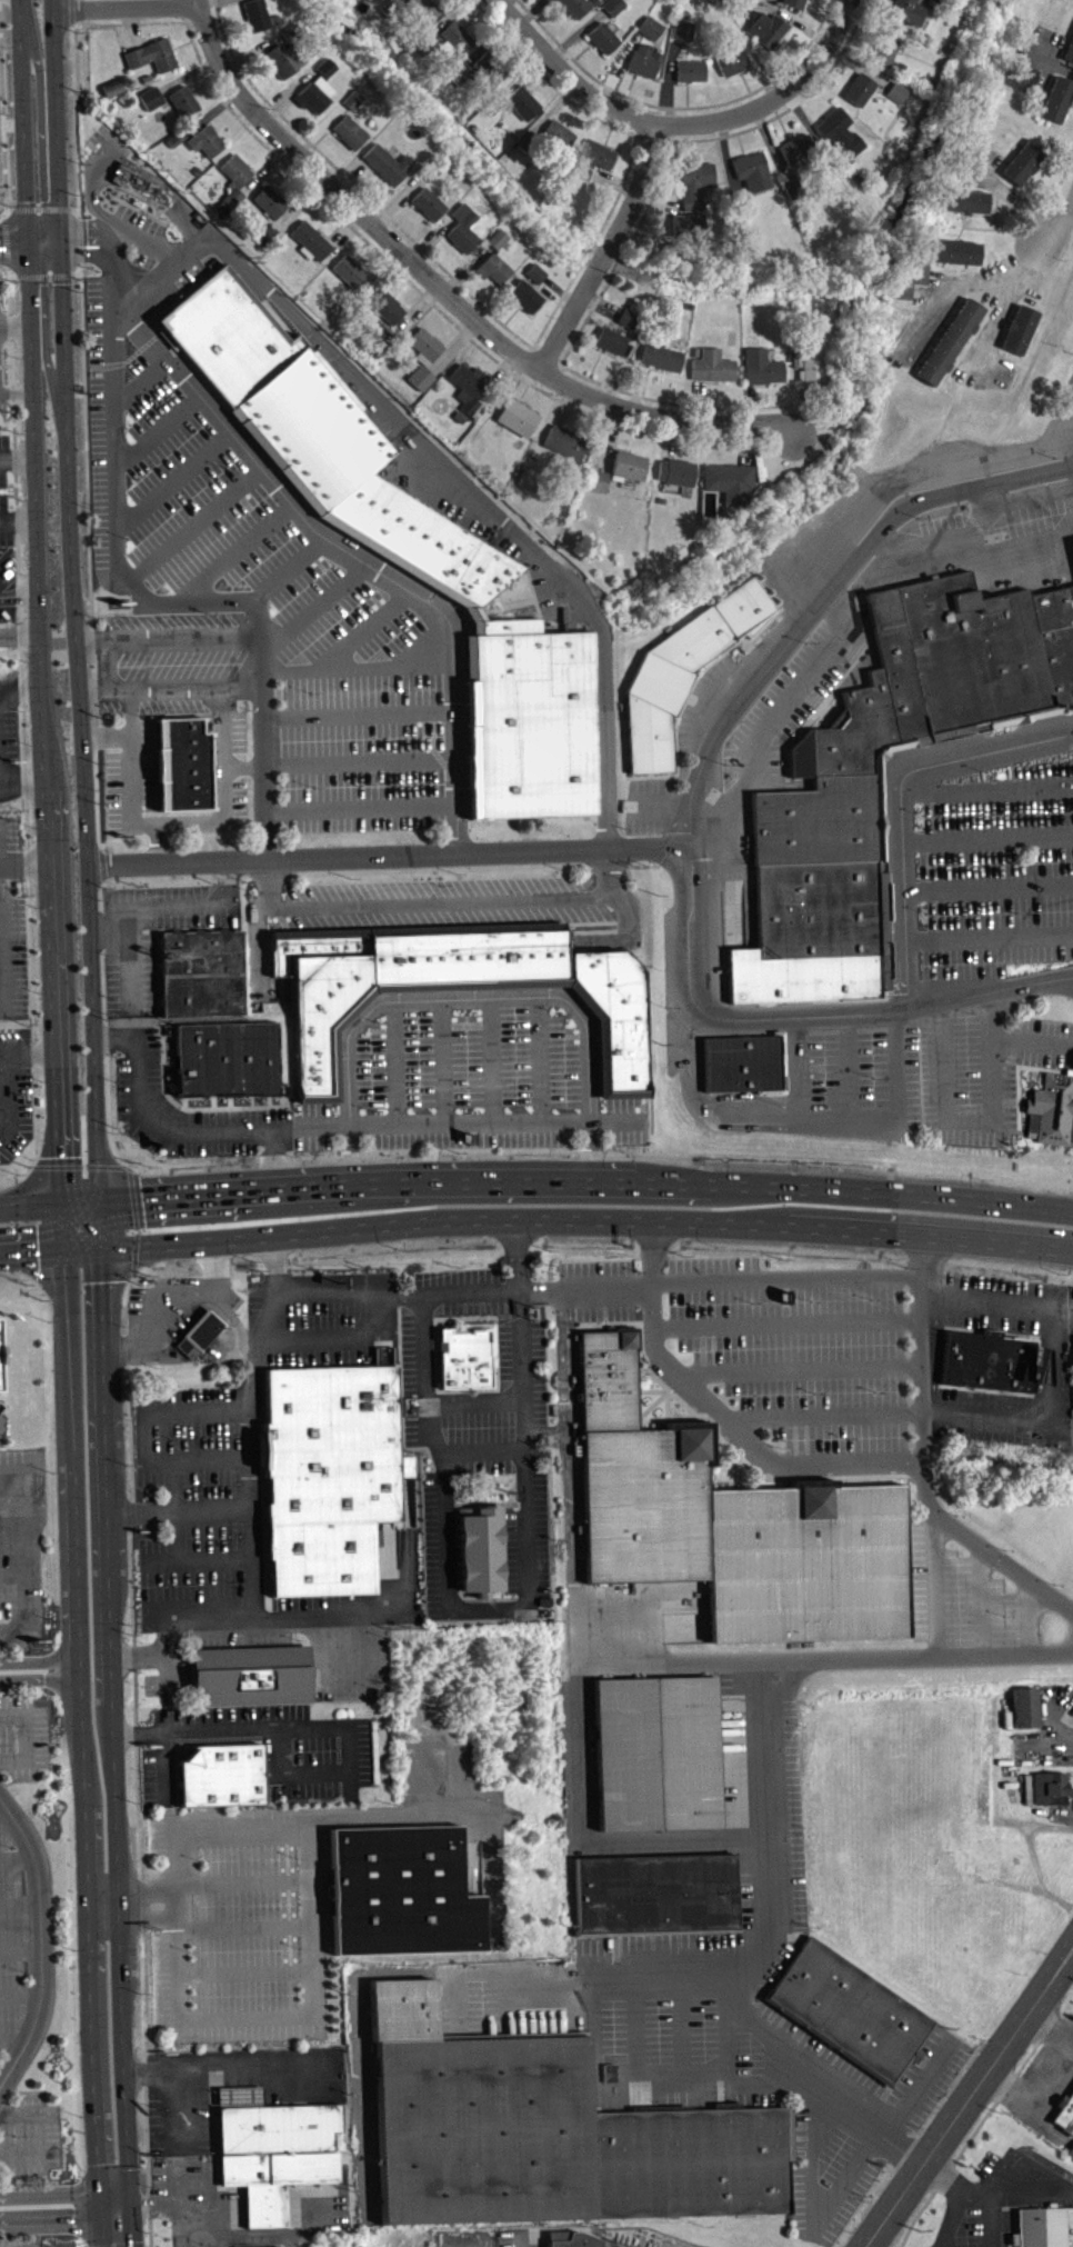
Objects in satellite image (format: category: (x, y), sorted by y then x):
building: (714, 1)
road: (193, 2)
building: (595, 2)
building: (746, 2)
building: (798, 3)
building: (939, 4)
road: (122, 6)
building: (576, 7)
building: (615, 7)
building: (391, 8)
road: (72, 10)
building: (421, 10)
building: (910, 12)
building: (684, 13)
building: (257, 16)
building: (275, 19)
road: (22, 21)
building: (653, 28)
building: (769, 29)
building: (684, 30)
building: (292, 33)
building: (457, 39)
building: (605, 39)
building: (428, 43)
building: (886, 51)
building: (1071, 54)
building: (153, 57)
building: (287, 60)
building: (646, 61)
building: (734, 62)
building: (328, 68)
building: (902, 68)
building: (489, 70)
building: (693, 71)
road: (565, 74)
building: (460, 76)
building: (1025, 78)
building: (148, 79)
building: (931, 83)
building: (114, 90)
building: (861, 90)
building: (899, 92)
building: (315, 94)
building: (152, 98)
building: (354, 100)
road: (776, 100)
building: (1060, 100)
building: (184, 102)
building: (523, 103)
building: (491, 107)
road: (3, 109)
road: (41, 118)
road: (76, 118)
building: (477, 129)
building: (842, 131)
building: (350, 132)
building: (560, 136)
road: (26, 137)
building: (178, 139)
building: (208, 141)
building: (529, 142)
building: (799, 150)
building: (598, 154)
building: (1026, 162)
building: (388, 164)
building: (198, 171)
building: (431, 171)
building: (582, 172)
building: (754, 172)
building: (237, 179)
building: (122, 180)
road: (635, 180)
building: (696, 183)
building: (796, 188)
building: (969, 201)
building: (271, 202)
building: (430, 204)
road: (10, 208)
road: (40, 208)
road: (72, 208)
building: (745, 208)
road: (3, 214)
traffic signals: (27, 219)
building: (690, 224)
road: (1059, 224)
building: (464, 229)
road: (13, 231)
traffic signals: (72, 231)
road: (78, 231)
building: (268, 234)
road: (80, 239)
building: (499, 239)
road: (6, 240)
building: (312, 241)
building: (671, 248)
road: (601, 250)
building: (960, 252)
traffic signals: (16, 254)
road: (29, 254)
road: (84, 254)
traffic signals: (59, 264)
building: (495, 267)
building: (352, 271)
building: (536, 273)
road: (43, 274)
road: (74, 274)
road: (13, 276)
building: (912, 280)
road: (445, 292)
building: (527, 297)
building: (689, 307)
road: (1004, 307)
building: (389, 308)
road: (566, 317)
building: (629, 318)
road: (16, 323)
building: (1020, 330)
building: (387, 341)
building: (612, 341)
building: (951, 342)
building: (800, 344)
building: (427, 347)
building: (663, 358)
building: (793, 359)
building: (712, 366)
building: (813, 367)
building: (763, 368)
road: (141, 378)
building: (422, 378)
building: (470, 387)
road: (17, 388)
building: (462, 418)
building: (519, 418)
road: (157, 426)
building: (568, 442)
street lamp: (1054, 457)
road: (18, 458)
building: (630, 467)
building: (678, 472)
road: (443, 475)
road: (173, 478)
building: (599, 481)
building: (731, 482)
parking lot: (4, 492)
building: (662, 500)
street lamp: (916, 516)
road: (19, 518)
road: (192, 520)
building: (722, 521)
parking lot: (819, 542)
road: (40, 548)
road: (351, 551)
road: (233, 552)
road: (89, 555)
building: (402, 559)
road: (287, 568)
parking lot: (267, 589)
road: (826, 595)
road: (156, 597)
road: (20, 600)
road: (313, 603)
road: (74, 621)
road: (365, 626)
road: (21, 638)
street lamp: (805, 641)
road: (104, 660)
road: (358, 665)
building: (682, 669)
road: (22, 695)
parking lot: (699, 698)
building: (916, 705)
road: (360, 711)
road: (21, 715)
road: (103, 731)
parking lot: (8, 737)
road: (982, 751)
road: (361, 759)
building: (184, 761)
street lamp: (723, 761)
road: (243, 762)
street lamp: (981, 773)
road: (24, 776)
road: (990, 789)
parking lot: (646, 803)
road: (663, 803)
road: (362, 808)
street lamp: (921, 812)
road: (174, 820)
road: (991, 838)
road: (158, 841)
road: (388, 853)
road: (102, 861)
road: (26, 865)
parking lot: (992, 870)
road: (992, 887)
road: (912, 899)
road: (441, 900)
parking lot: (443, 900)
road: (188, 905)
building: (820, 907)
street lamp: (923, 911)
street lamp: (1014, 911)
road: (993, 939)
road: (6, 951)
parking lot: (12, 951)
road: (131, 952)
parking lot: (131, 971)
building: (200, 971)
building: (804, 975)
road: (1067, 982)
building: (453, 986)
road: (995, 993)
road: (501, 997)
road: (2, 1007)
road: (728, 1018)
road: (103, 1025)
road: (59, 1053)
building: (218, 1057)
street lamp: (1010, 1057)
road: (536, 1059)
parking lot: (139, 1060)
road: (491, 1060)
road: (442, 1061)
building: (745, 1061)
road: (394, 1062)
road: (6, 1066)
parking lot: (909, 1073)
street lamp: (874, 1075)
parking lot: (469, 1082)
parking lot: (14, 1091)
building: (1051, 1108)
road: (973, 1119)
road: (498, 1122)
road: (344, 1126)
road: (176, 1130)
road: (854, 1134)
road: (76, 1165)
road: (124, 1166)
road: (536, 1187)
traffic signals: (100, 1205)
traffic signals: (64, 1206)
road: (1071, 1208)
road: (133, 1217)
road: (536, 1228)
traffic signals: (69, 1242)
traffic signals: (98, 1242)
road: (1066, 1254)
road: (274, 1264)
road: (132, 1272)
road: (788, 1279)
road: (1064, 1308)
parking lot: (1070, 1310)
street lamp: (328, 1321)
road: (789, 1322)
parking lot: (503, 1338)
parking lot: (772, 1339)
building: (195, 1340)
building: (465, 1352)
building: (1, 1354)
road: (252, 1357)
building: (987, 1358)
road: (1053, 1361)
parking lot: (1053, 1365)
road: (802, 1369)
building: (0, 1379)
road: (129, 1385)
road: (471, 1401)
parking lot: (448, 1402)
road: (724, 1416)
road: (828, 1416)
road: (0, 1425)
parking lot: (0, 1427)
road: (259, 1440)
street lamp: (227, 1442)
street lamp: (166, 1444)
road: (477, 1450)
parking lot: (234, 1456)
road: (259, 1456)
road: (924, 1462)
building: (325, 1481)
road: (12, 1505)
road: (130, 1511)
building: (729, 1521)
road: (264, 1538)
road: (12, 1541)
road: (26, 1548)
building: (477, 1548)
parking lot: (21, 1549)
parking lot: (527, 1556)
road: (265, 1582)
road: (937, 1582)
street lamp: (231, 1590)
street lamp: (163, 1592)
parking lot: (965, 1598)
road: (982, 1598)
road: (489, 1608)
road: (268, 1610)
road: (1029, 1614)
parking lot: (347, 1657)
road: (823, 1658)
road: (52, 1661)
building: (249, 1675)
road: (47, 1680)
building: (1023, 1704)
road: (334, 1727)
parking lot: (22, 1735)
road: (24, 1736)
road: (163, 1741)
road: (88, 1745)
road: (110, 1745)
road: (575, 1748)
parking lot: (268, 1749)
building: (656, 1751)
building: (222, 1774)
building: (1049, 1786)
road: (4, 1809)
parking lot: (752, 1817)
road: (759, 1836)
road: (17, 1856)
road: (140, 1886)
building: (399, 1889)
building: (654, 1894)
road: (21, 1901)
road: (769, 1908)
parking lot: (228, 1924)
parking lot: (12, 1939)
road: (42, 1941)
road: (21, 1948)
road: (615, 1967)
road: (495, 1971)
road: (20, 1993)
parking lot: (1071, 2006)
building: (849, 2009)
road: (638, 2018)
road: (1052, 2027)
road: (726, 2037)
road: (13, 2039)
road: (683, 2039)
road: (359, 2045)
parking lot: (715, 2048)
road: (1044, 2067)
road: (769, 2081)
road: (1, 2085)
road: (1005, 2085)
road: (853, 2090)
road: (969, 2099)
building: (1065, 2111)
building: (548, 2131)
road: (971, 2134)
building: (272, 2148)
road: (903, 2149)
building: (1070, 2156)
road: (997, 2171)
road: (976, 2189)
road: (7, 2196)
traffic signals: (107, 2196)
road: (961, 2196)
road: (67, 2197)
parking lot: (997, 2197)
road: (151, 2203)
traffic signals: (132, 2204)
road: (813, 2215)
road: (68, 2219)
traffic signals: (108, 2219)
road: (181, 2223)
building: (1042, 2225)
building: (564, 2235)
parking lot: (28, 2239)
building: (580, 2240)

